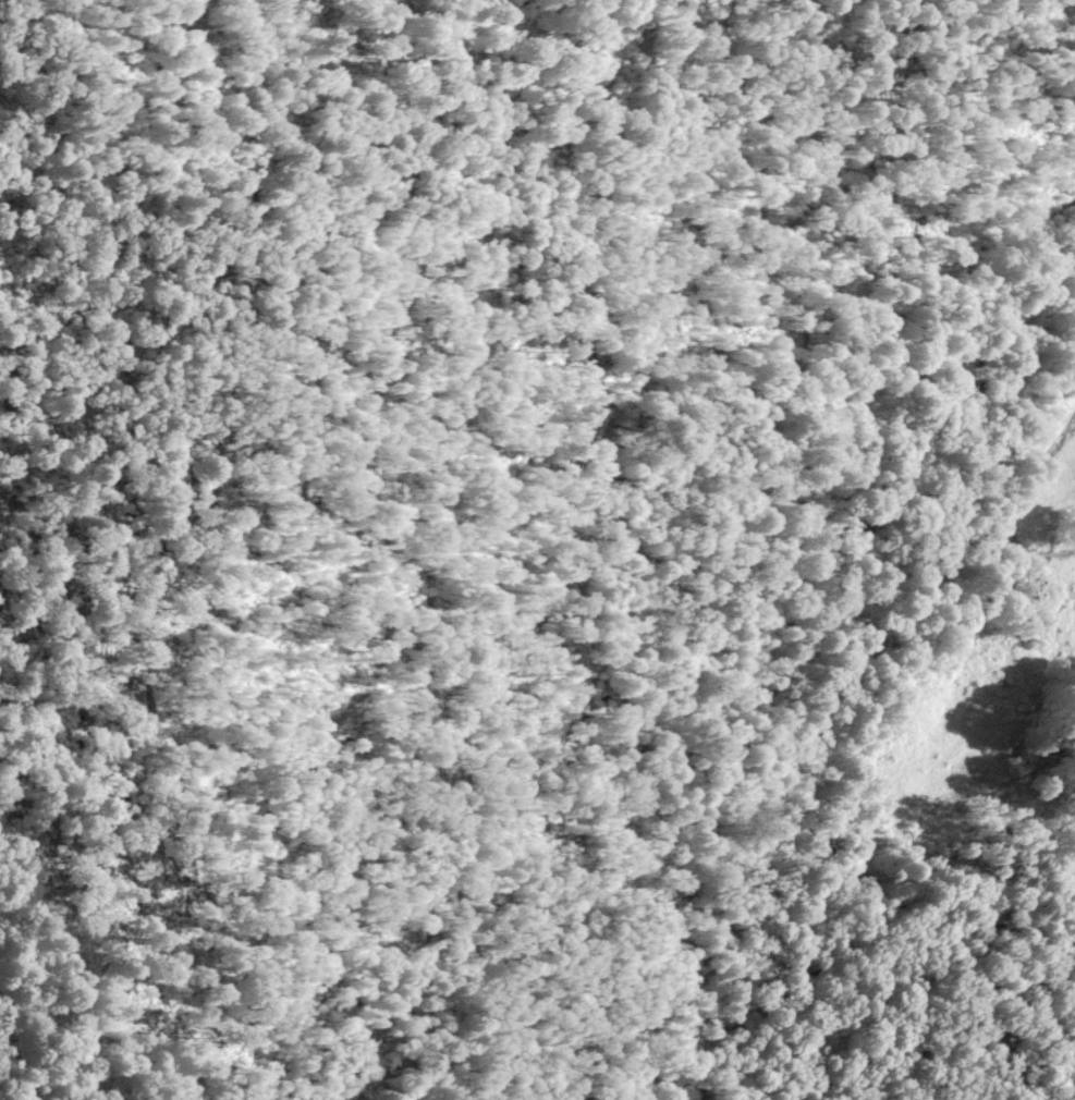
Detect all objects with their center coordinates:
road: (1045, 470)

